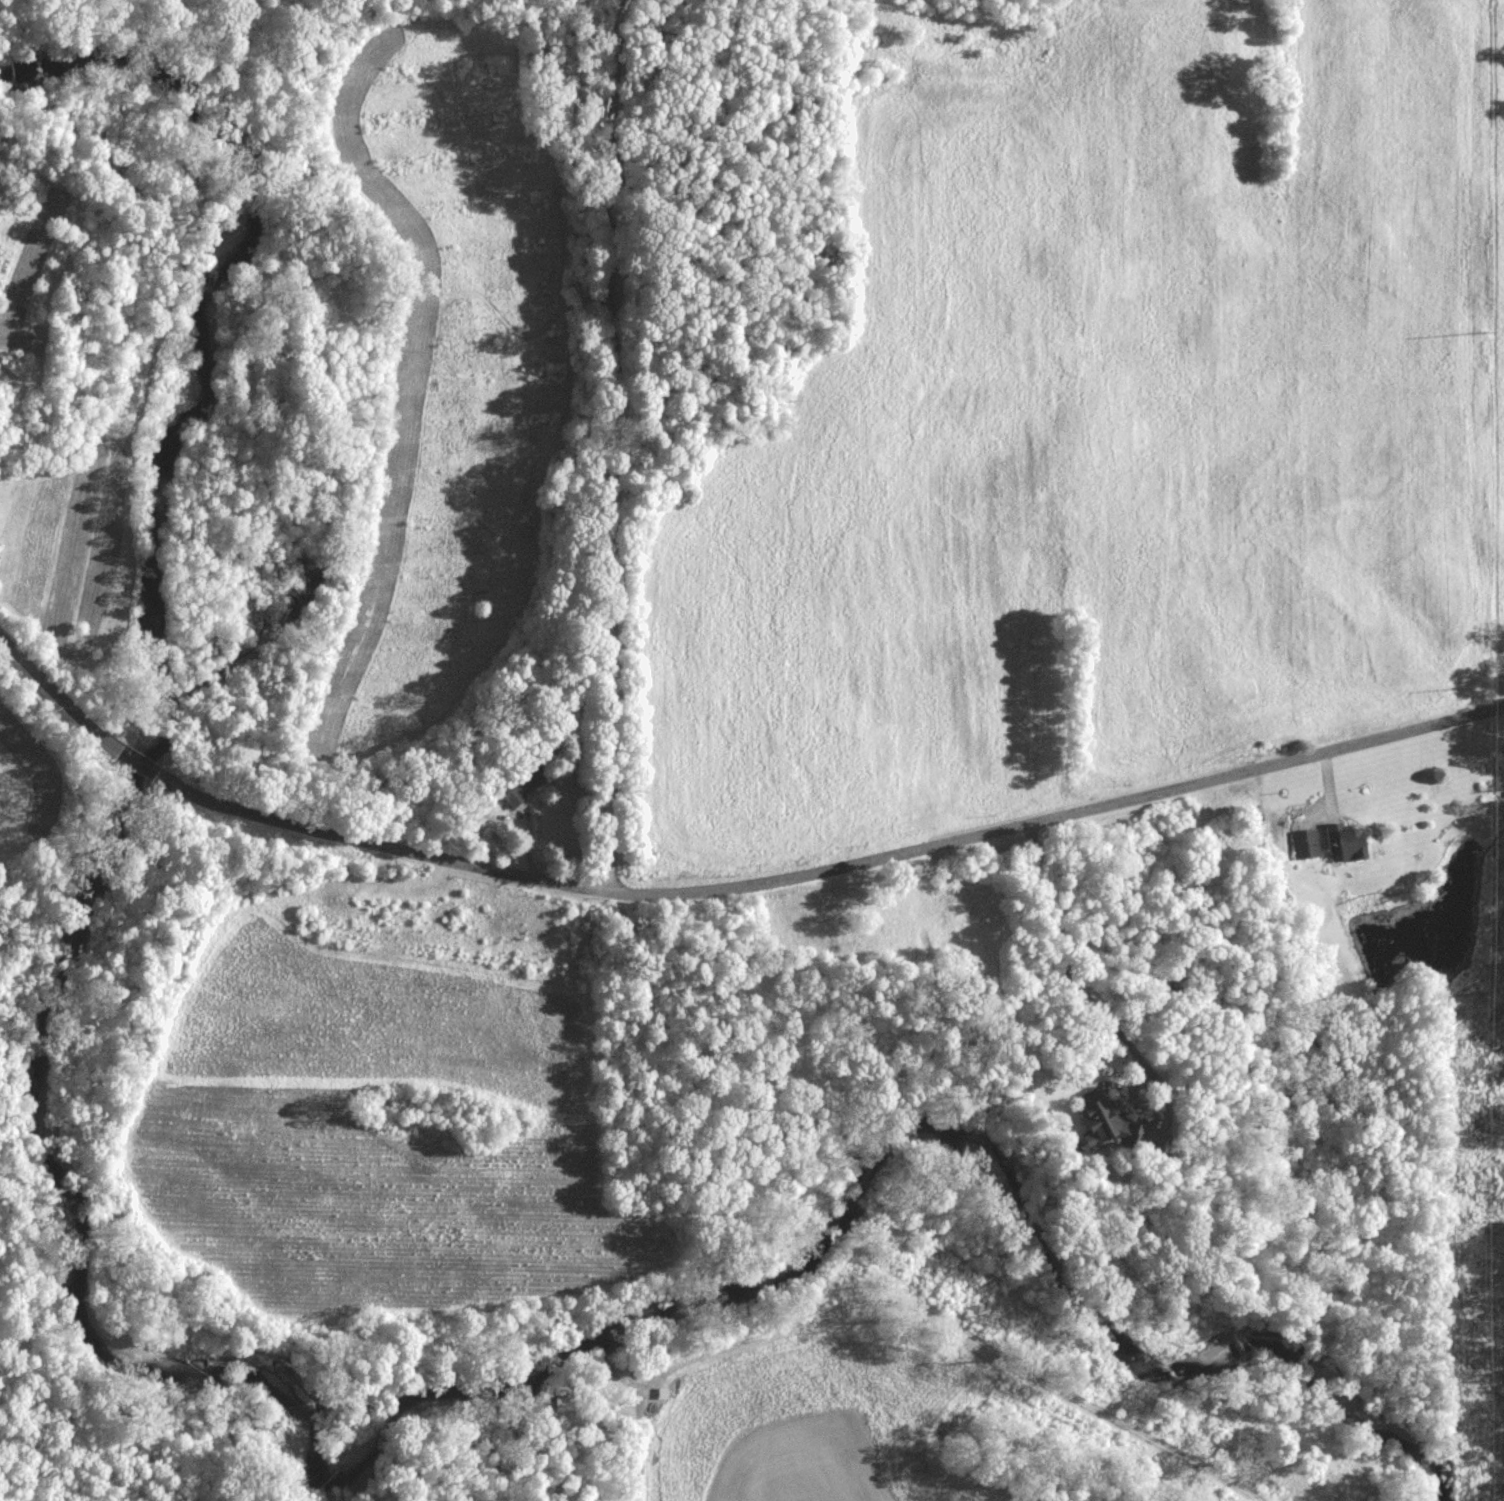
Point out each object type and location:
road: (611, 446)
road: (58, 695)
road: (151, 768)
road: (203, 797)
building: (1341, 842)
building: (1303, 844)
road: (869, 862)
road: (1097, 1006)
park: (1499, 1089)
building: (1099, 1118)
road: (1023, 1373)
road: (658, 1374)

